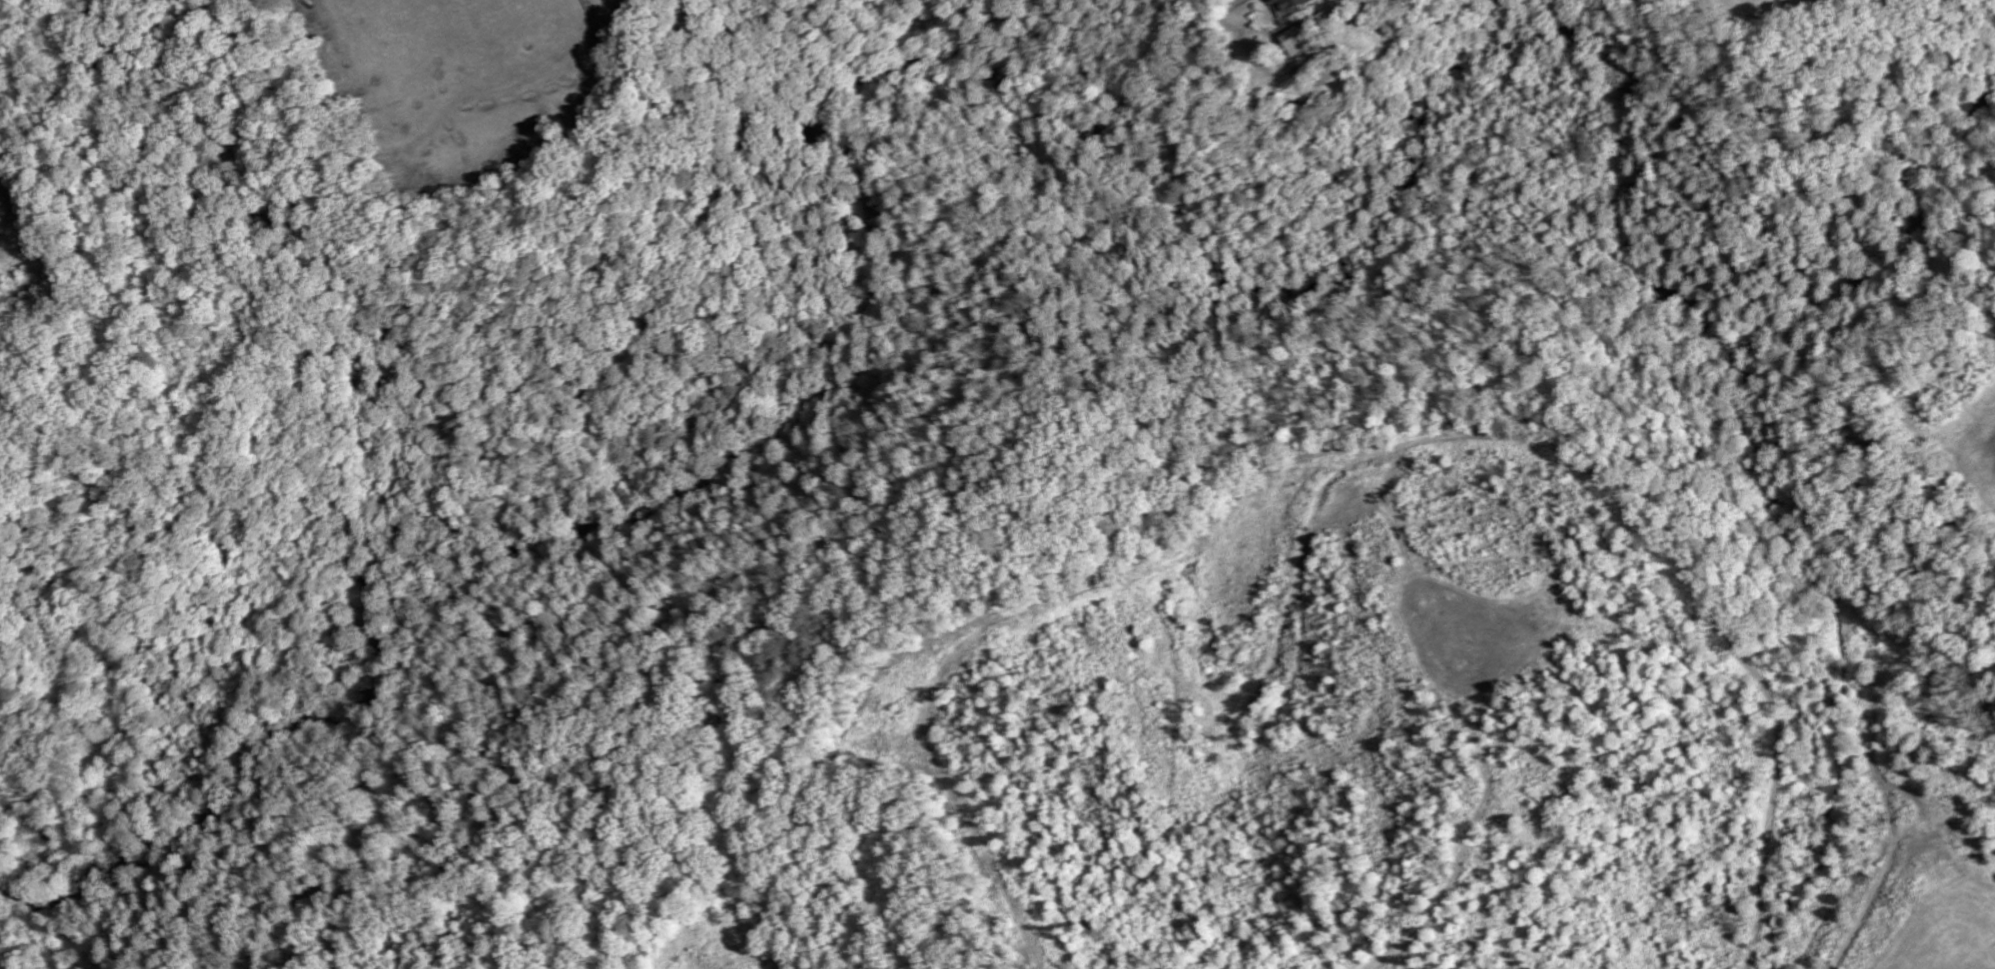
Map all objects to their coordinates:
building: (1299, 42)

